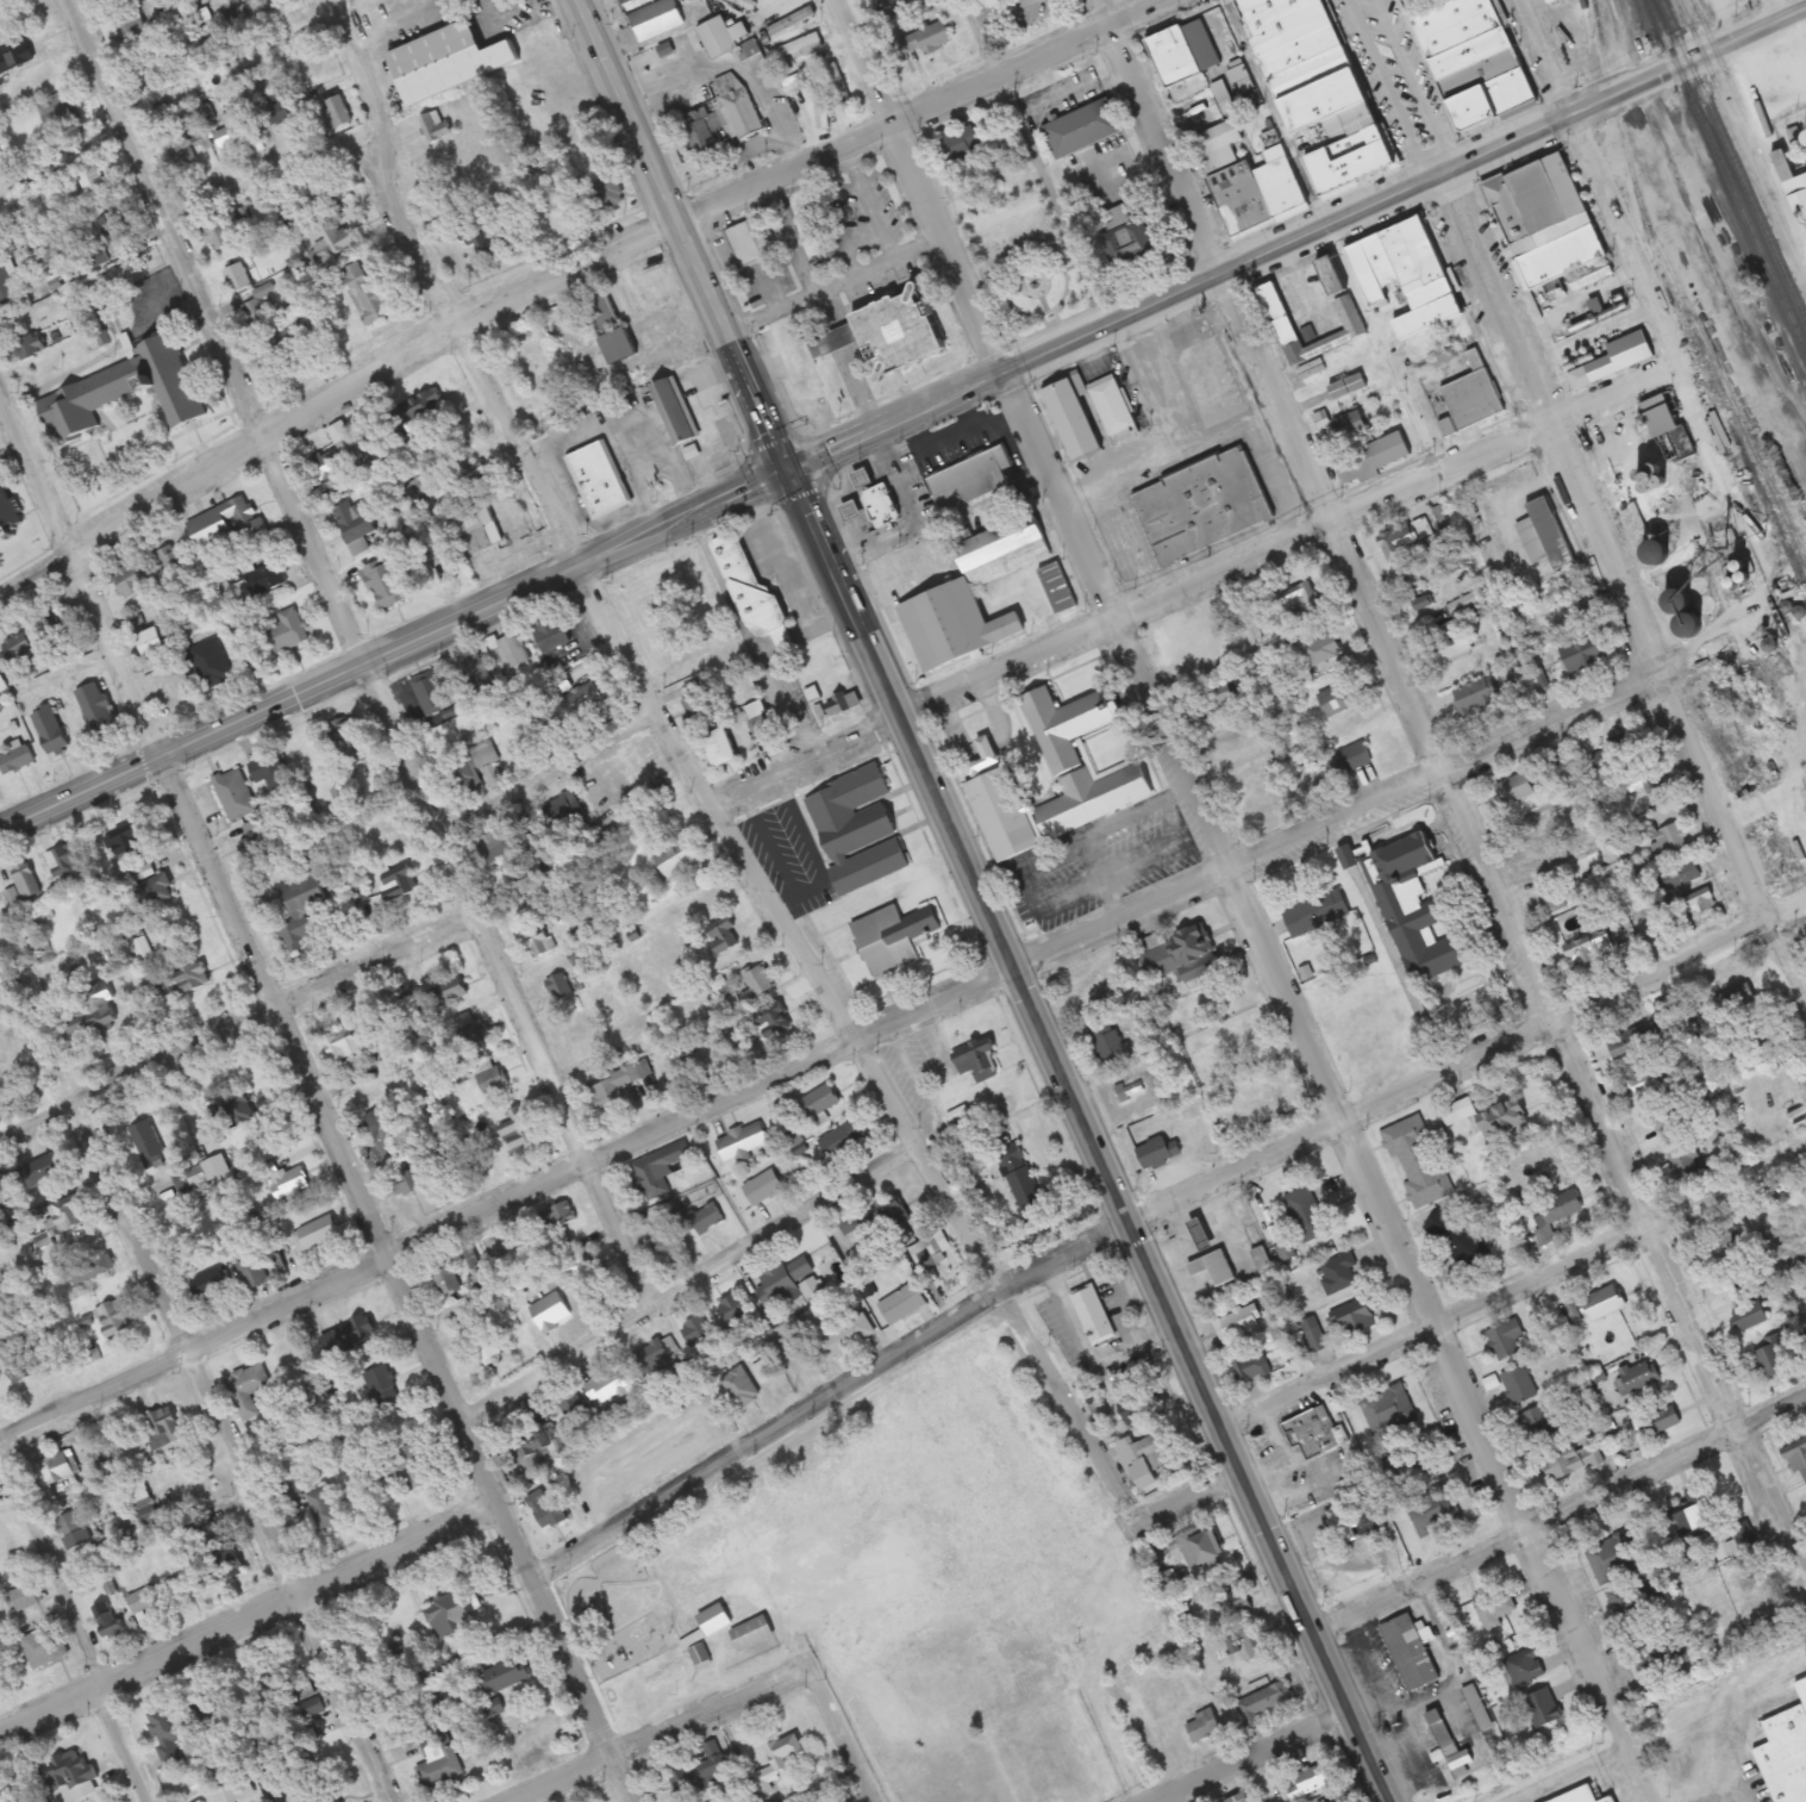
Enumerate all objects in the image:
building: (902, 7)
road: (1775, 10)
building: (657, 19)
building: (121, 24)
road: (1746, 33)
building: (719, 38)
building: (929, 39)
road: (1793, 46)
building: (463, 57)
road: (1539, 57)
building: (1473, 60)
building: (1196, 66)
road: (1383, 88)
building: (1321, 91)
building: (736, 106)
building: (336, 112)
building: (56, 113)
building: (1086, 127)
building: (232, 131)
road: (1157, 133)
building: (704, 141)
building: (180, 150)
railway: (1732, 161)
road: (264, 162)
building: (1249, 174)
railway: (1726, 175)
road: (912, 185)
building: (1793, 185)
building: (314, 193)
building: (1548, 219)
building: (113, 229)
road: (686, 231)
building: (218, 235)
building: (479, 236)
building: (332, 237)
road: (1614, 237)
building: (1130, 238)
building: (752, 241)
road: (560, 269)
building: (238, 278)
building: (1338, 281)
building: (1431, 283)
road: (429, 288)
building: (7, 291)
building: (365, 295)
building: (255, 310)
building: (1280, 314)
road: (218, 328)
building: (894, 336)
building: (296, 337)
building: (29, 347)
building: (532, 349)
building: (799, 357)
building: (1616, 361)
building: (1349, 387)
building: (125, 392)
building: (1473, 399)
building: (1111, 404)
building: (674, 412)
building: (419, 414)
building: (1073, 418)
building: (1350, 425)
building: (1670, 430)
road: (842, 439)
building: (1374, 457)
building: (336, 459)
traffic signals: (789, 464)
building: (598, 479)
building: (970, 480)
building: (1205, 497)
building: (852, 510)
building: (7, 511)
building: (875, 512)
building: (229, 524)
building: (355, 525)
building: (476, 526)
building: (1543, 534)
building: (1406, 540)
building: (173, 561)
road: (82, 565)
road: (1189, 574)
building: (265, 579)
building: (132, 582)
building: (383, 584)
road: (1617, 598)
building: (1298, 601)
building: (961, 610)
building: (55, 625)
building: (287, 631)
building: (1449, 642)
building: (156, 646)
building: (15, 651)
building: (511, 651)
building: (1321, 654)
building: (211, 663)
building: (479, 674)
building: (429, 693)
building: (1476, 696)
building: (1213, 697)
building: (1341, 698)
building: (583, 700)
building: (96, 709)
building: (756, 710)
building: (50, 731)
building: (1230, 737)
building: (1624, 741)
building: (350, 742)
building: (721, 748)
road: (549, 750)
building: (985, 757)
building: (1348, 759)
building: (17, 760)
building: (1595, 762)
building: (463, 766)
building: (1639, 773)
building: (271, 775)
building: (1056, 779)
building: (1514, 788)
building: (235, 794)
building: (339, 797)
building: (563, 815)
building: (856, 829)
building: (127, 841)
building: (496, 843)
building: (1668, 843)
building: (69, 858)
building: (679, 858)
building: (138, 874)
building: (1681, 875)
building: (26, 879)
building: (400, 887)
building: (1555, 897)
building: (1696, 902)
building: (1413, 905)
building: (302, 909)
building: (1314, 912)
road: (1512, 925)
building: (726, 931)
building: (892, 936)
building: (539, 944)
building: (1588, 949)
building: (1185, 955)
building: (189, 980)
road: (508, 981)
building: (752, 983)
building: (560, 987)
building: (1095, 989)
building: (449, 991)
building: (93, 998)
road: (239, 1020)
building: (773, 1020)
building: (473, 1034)
road: (863, 1035)
building: (1633, 1042)
building: (343, 1043)
building: (1108, 1043)
road: (825, 1052)
building: (977, 1060)
building: (493, 1078)
building: (1646, 1081)
road: (1320, 1086)
building: (612, 1089)
building: (820, 1100)
building: (1458, 1111)
building: (1668, 1116)
building: (519, 1128)
road: (1087, 1134)
building: (387, 1135)
building: (793, 1136)
building: (842, 1140)
building: (743, 1142)
building: (149, 1143)
building: (1157, 1152)
building: (1417, 1161)
building: (1682, 1166)
building: (44, 1170)
building: (658, 1170)
building: (189, 1176)
building: (1021, 1179)
building: (290, 1181)
building: (764, 1187)
road: (1151, 1203)
building: (1556, 1209)
building: (69, 1214)
building: (1305, 1215)
building: (708, 1217)
building: (562, 1222)
building: (317, 1233)
building: (663, 1234)
building: (1451, 1237)
building: (1724, 1248)
building: (13, 1258)
building: (1263, 1262)
building: (1214, 1267)
building: (92, 1268)
building: (477, 1268)
building: (254, 1272)
building: (1339, 1273)
road: (398, 1276)
building: (592, 1277)
building: (448, 1282)
building: (786, 1282)
road: (694, 1283)
building: (212, 1284)
road: (1508, 1285)
building: (1605, 1302)
building: (905, 1303)
building: (736, 1308)
building: (554, 1314)
building: (1093, 1316)
building: (1357, 1317)
building: (114, 1318)
building: (1238, 1323)
building: (698, 1330)
building: (355, 1333)
building: (848, 1338)
building: (1505, 1339)
building: (485, 1343)
building: (1311, 1346)
building: (660, 1357)
building: (1770, 1361)
road: (192, 1364)
building: (1250, 1367)
building: (289, 1368)
building: (767, 1370)
building: (1638, 1376)
building: (608, 1385)
building: (1518, 1385)
building: (743, 1388)
building: (248, 1389)
building: (383, 1389)
building: (573, 1407)
building: (1141, 1408)
building: (1387, 1409)
building: (1661, 1420)
building: (1538, 1427)
building: (162, 1428)
building: (1314, 1430)
building: (535, 1441)
building: (1148, 1455)
building: (1796, 1459)
building: (1571, 1461)
building: (408, 1465)
building: (55, 1469)
road: (1182, 1494)
building: (140, 1495)
building: (911, 1501)
building: (327, 1508)
road: (1556, 1509)
building: (548, 1510)
building: (1432, 1510)
building: (1692, 1514)
building: (71, 1530)
building: (118, 1545)
building: (1201, 1545)
building: (225, 1558)
building: (1613, 1558)
road: (51, 1572)
building: (25, 1595)
building: (156, 1595)
building: (1636, 1602)
building: (1493, 1607)
building: (450, 1614)
building: (1243, 1614)
road: (249, 1615)
building: (110, 1619)
building: (711, 1632)
building: (756, 1633)
building: (1251, 1645)
building: (45, 1647)
building: (1662, 1651)
building: (1410, 1652)
building: (1524, 1666)
building: (439, 1667)
building: (506, 1676)
building: (669, 1676)
building: (202, 1703)
building: (1263, 1703)
building: (1477, 1708)
building: (1542, 1709)
building: (167, 1725)
building: (1204, 1726)
building: (1452, 1727)
road: (655, 1731)
road: (844, 1732)
road: (1116, 1742)
road: (123, 1744)
building: (1063, 1748)
building: (1786, 1753)
building: (787, 1757)
building: (437, 1759)
road: (1252, 1759)
road: (1570, 1772)
building: (707, 1775)
building: (70, 1777)
building: (1308, 1781)
building: (1582, 1796)
building: (1242, 1798)
building: (1333, 1801)

